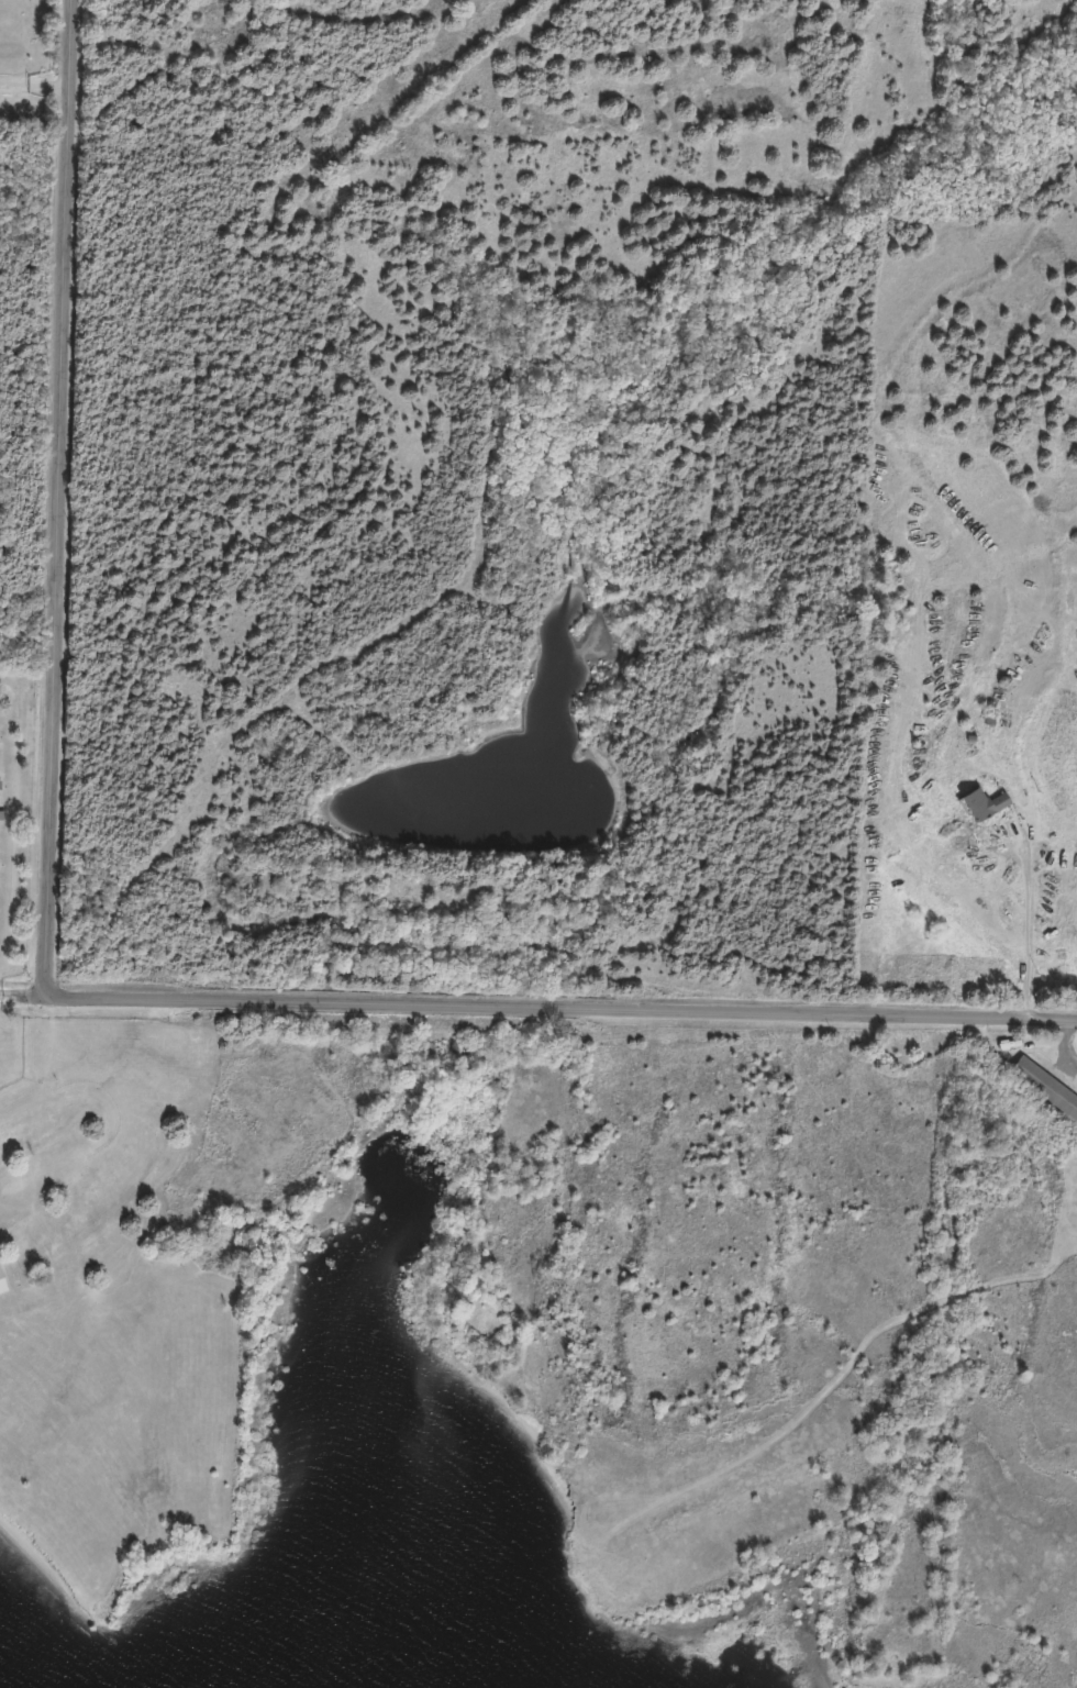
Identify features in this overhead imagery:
road: (38, 91)
road: (64, 499)
building: (979, 806)
building: (1, 815)
park: (488, 892)
road: (1026, 920)
road: (22, 997)
road: (560, 1009)
building: (1000, 1045)
building: (1044, 1088)
road: (64, 1096)
road: (49, 1169)
building: (1, 1286)

